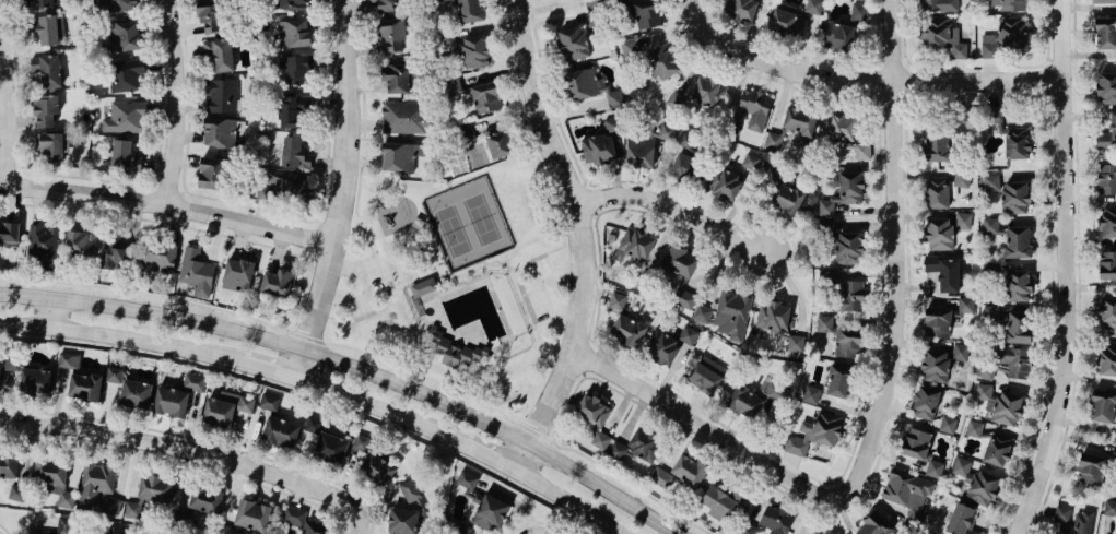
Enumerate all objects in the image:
building: (436, 0)
building: (1104, 1)
building: (616, 2)
building: (40, 3)
building: (293, 4)
building: (1008, 4)
building: (113, 5)
building: (388, 5)
building: (939, 5)
building: (813, 7)
building: (741, 9)
building: (468, 11)
street lamp: (1071, 12)
building: (646, 13)
building: (210, 15)
building: (785, 20)
building: (44, 28)
building: (845, 32)
building: (1012, 32)
building: (294, 33)
building: (1105, 33)
building: (393, 34)
building: (122, 36)
building: (942, 36)
building: (447, 40)
building: (573, 43)
building: (988, 46)
building: (629, 47)
building: (475, 51)
building: (220, 54)
building: (663, 61)
road: (808, 61)
street lamp: (738, 64)
road: (906, 64)
road: (975, 67)
road: (872, 68)
building: (297, 69)
road: (889, 69)
building: (47, 70)
building: (127, 75)
building: (396, 78)
road: (866, 80)
road: (904, 81)
building: (582, 83)
road: (877, 84)
building: (453, 87)
building: (1106, 87)
road: (11, 92)
building: (708, 92)
building: (221, 95)
building: (485, 97)
road: (892, 97)
road: (907, 97)
building: (614, 98)
road: (876, 100)
road: (180, 102)
building: (676, 102)
building: (753, 110)
building: (45, 111)
building: (293, 111)
building: (125, 117)
building: (407, 117)
building: (801, 121)
building: (221, 131)
building: (666, 131)
building: (844, 134)
building: (1009, 134)
building: (1107, 134)
building: (773, 140)
building: (54, 144)
building: (498, 144)
building: (937, 145)
building: (599, 149)
building: (639, 151)
building: (294, 153)
building: (125, 155)
building: (401, 156)
building: (685, 167)
road: (21, 170)
road: (9, 171)
building: (211, 173)
street lamp: (357, 176)
road: (94, 178)
building: (1107, 178)
building: (730, 179)
building: (285, 183)
road: (583, 183)
road: (151, 187)
road: (165, 191)
road: (181, 191)
road: (345, 191)
building: (843, 192)
building: (937, 192)
building: (1009, 193)
road: (587, 198)
road: (169, 202)
road: (678, 207)
road: (265, 211)
road: (596, 213)
road: (898, 219)
road: (317, 222)
building: (963, 222)
building: (1107, 222)
park: (467, 223)
building: (992, 229)
building: (939, 234)
building: (9, 235)
road: (586, 237)
road: (428, 238)
road: (316, 240)
building: (1018, 241)
building: (43, 244)
building: (82, 244)
building: (638, 244)
building: (848, 248)
building: (116, 256)
building: (158, 256)
road: (312, 258)
road: (484, 261)
building: (678, 262)
building: (1107, 264)
road: (412, 268)
road: (471, 268)
road: (1071, 270)
road: (1080, 270)
building: (196, 272)
building: (944, 272)
building: (237, 274)
road: (409, 276)
building: (278, 282)
park: (457, 283)
road: (305, 284)
parking lot: (362, 285)
building: (423, 285)
building: (1018, 285)
road: (362, 286)
parking lot: (541, 288)
road: (542, 288)
building: (845, 292)
street lamp: (116, 296)
road: (428, 296)
road: (908, 297)
building: (684, 298)
road: (435, 300)
building: (616, 302)
building: (966, 304)
road: (56, 310)
road: (421, 312)
building: (990, 313)
building: (1107, 313)
building: (726, 315)
building: (773, 316)
building: (937, 320)
street lamp: (243, 321)
building: (1018, 327)
road: (287, 329)
building: (627, 330)
road: (524, 331)
road: (121, 335)
building: (686, 335)
building: (838, 335)
road: (306, 336)
road: (326, 342)
street lamp: (590, 343)
road: (592, 345)
building: (453, 348)
building: (663, 349)
street lamp: (364, 358)
road: (586, 358)
building: (1106, 358)
building: (69, 360)
building: (11, 361)
road: (359, 361)
building: (1012, 363)
building: (935, 365)
building: (0, 366)
road: (272, 369)
road: (642, 373)
road: (583, 375)
building: (705, 375)
building: (35, 381)
building: (841, 381)
building: (85, 385)
building: (130, 388)
building: (776, 392)
road: (472, 394)
building: (811, 394)
building: (177, 396)
road: (309, 396)
building: (269, 402)
building: (744, 402)
building: (925, 402)
building: (1000, 405)
building: (1103, 406)
building: (225, 407)
road: (383, 407)
building: (594, 419)
road: (517, 422)
building: (948, 424)
road: (533, 430)
building: (280, 431)
building: (814, 432)
street lamp: (550, 436)
road: (204, 439)
road: (141, 440)
road: (551, 440)
building: (327, 441)
building: (992, 442)
building: (916, 443)
building: (636, 446)
road: (738, 447)
road: (490, 454)
building: (372, 462)
road: (183, 464)
building: (9, 465)
building: (1091, 466)
building: (933, 468)
building: (689, 470)
building: (662, 477)
building: (55, 479)
building: (976, 482)
building: (96, 483)
building: (155, 488)
building: (410, 490)
building: (16, 493)
road: (331, 494)
building: (907, 495)
building: (198, 499)
road: (571, 500)
building: (720, 501)
building: (481, 503)
building: (111, 506)
building: (1109, 508)
building: (131, 510)
building: (292, 515)
building: (250, 517)
building: (180, 518)
building: (961, 520)
building: (1074, 520)
building: (403, 521)
road: (536, 521)
building: (768, 522)
building: (876, 525)
building: (315, 527)
road: (4, 529)
building: (110, 532)
building: (824, 532)

